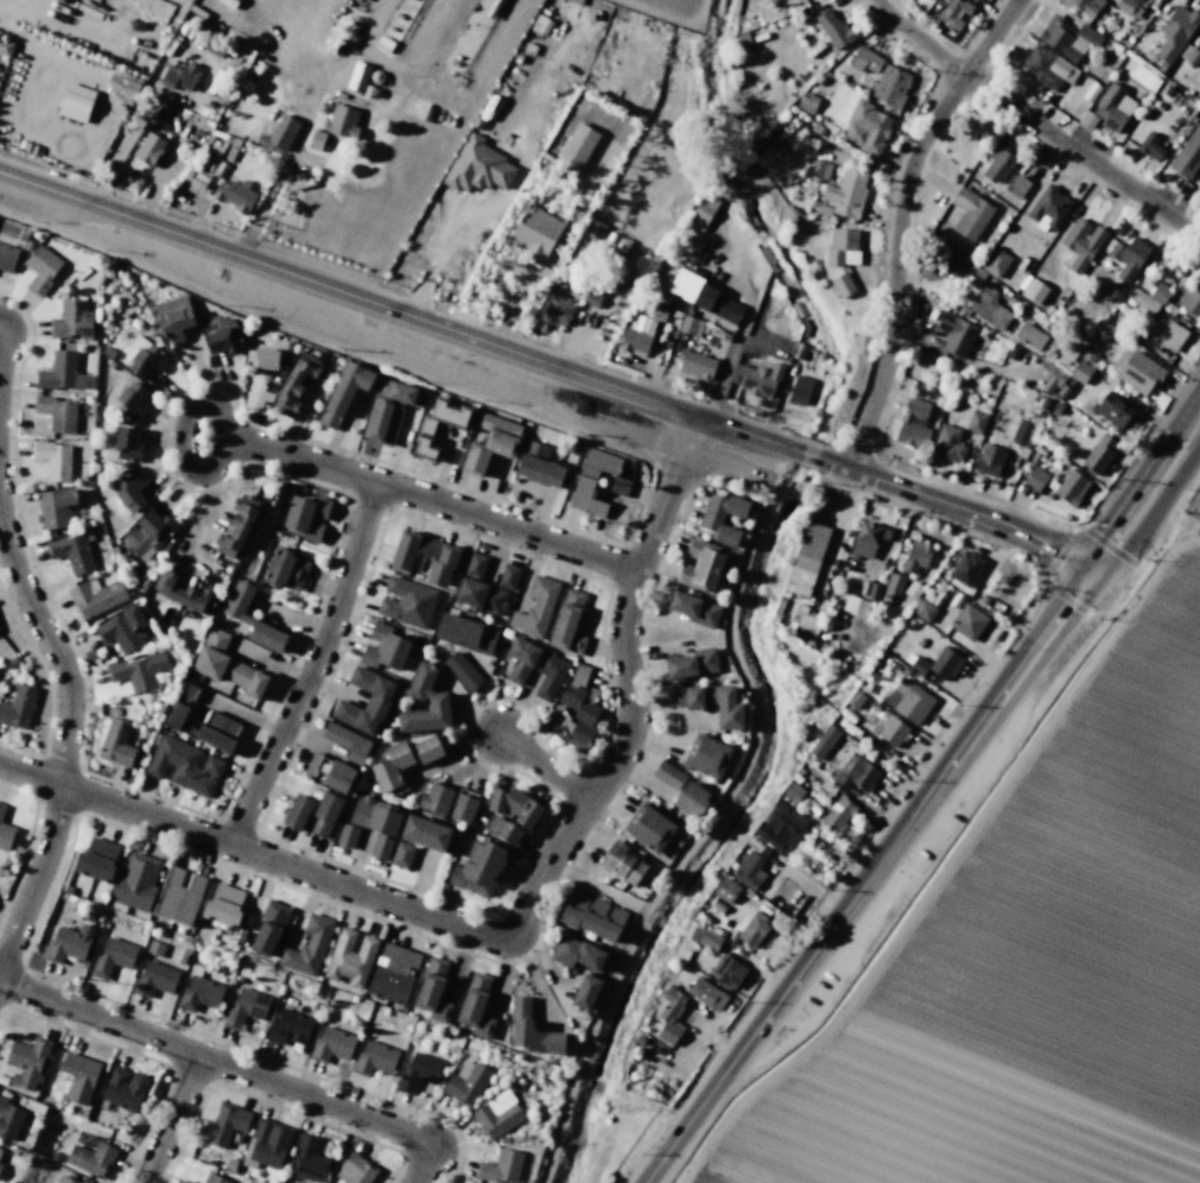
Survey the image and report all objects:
building: (1136, 0)
building: (1125, 5)
building: (1086, 6)
building: (953, 13)
crop: (97, 17)
building: (834, 30)
building: (1175, 31)
building: (1066, 38)
road: (918, 39)
building: (6, 49)
building: (1188, 55)
building: (862, 67)
building: (1046, 67)
building: (179, 76)
building: (358, 77)
building: (1142, 77)
building: (122, 84)
building: (891, 87)
building: (75, 102)
building: (807, 103)
building: (1109, 107)
building: (1086, 120)
building: (343, 124)
building: (870, 128)
building: (282, 133)
building: (315, 140)
building: (1149, 146)
building: (577, 147)
building: (148, 148)
building: (1187, 153)
road: (1081, 154)
building: (997, 164)
building: (478, 166)
building: (820, 170)
building: (1017, 186)
building: (847, 194)
building: (234, 195)
road: (461, 197)
building: (1047, 209)
building: (701, 211)
building: (969, 213)
road: (897, 220)
building: (535, 234)
building: (1079, 245)
building: (1128, 257)
building: (7, 258)
building: (843, 259)
building: (995, 261)
building: (40, 268)
building: (1034, 291)
building: (1157, 291)
building: (703, 295)
building: (592, 296)
building: (1191, 301)
building: (1143, 302)
building: (988, 306)
building: (555, 310)
building: (174, 317)
building: (71, 320)
building: (690, 325)
building: (805, 327)
building: (1105, 331)
building: (221, 333)
building: (955, 334)
building: (641, 336)
building: (1029, 336)
building: (1166, 337)
building: (799, 350)
building: (145, 356)
building: (260, 359)
road: (547, 362)
building: (694, 363)
building: (58, 369)
building: (1136, 371)
building: (1080, 373)
building: (1050, 375)
road: (722, 378)
building: (757, 379)
building: (294, 384)
building: (799, 391)
building: (343, 393)
building: (131, 401)
building: (389, 409)
building: (1112, 409)
building: (57, 412)
road: (223, 420)
building: (976, 422)
building: (913, 425)
building: (427, 426)
building: (1022, 432)
building: (127, 443)
building: (490, 443)
building: (947, 444)
building: (1098, 454)
building: (53, 458)
building: (989, 460)
building: (538, 464)
building: (1035, 479)
road: (1138, 479)
building: (584, 482)
building: (1071, 487)
building: (131, 491)
road: (431, 500)
building: (55, 506)
road: (1150, 514)
building: (306, 517)
building: (709, 521)
building: (236, 527)
building: (147, 534)
building: (868, 539)
building: (71, 552)
building: (915, 556)
building: (807, 558)
building: (444, 561)
building: (700, 565)
building: (966, 568)
building: (285, 569)
building: (894, 583)
building: (484, 587)
building: (870, 587)
building: (913, 590)
building: (872, 591)
building: (184, 593)
building: (94, 596)
building: (983, 600)
building: (406, 602)
building: (856, 605)
building: (535, 607)
building: (694, 608)
building: (923, 609)
building: (252, 618)
building: (806, 620)
building: (969, 621)
building: (567, 624)
building: (122, 628)
building: (465, 633)
building: (385, 647)
building: (692, 663)
building: (939, 663)
building: (227, 665)
road: (311, 668)
building: (551, 669)
building: (136, 671)
building: (462, 671)
building: (427, 695)
building: (855, 700)
building: (912, 701)
building: (711, 702)
building: (376, 704)
building: (875, 706)
building: (18, 707)
building: (576, 710)
building: (203, 723)
building: (889, 728)
road: (65, 740)
building: (824, 741)
building: (347, 742)
building: (115, 744)
building: (706, 755)
building: (402, 759)
building: (312, 764)
building: (184, 765)
road: (544, 767)
building: (855, 773)
building: (667, 774)
building: (338, 777)
building: (792, 791)
building: (436, 798)
building: (691, 799)
building: (463, 808)
building: (1, 810)
building: (297, 811)
building: (324, 814)
building: (512, 814)
building: (375, 816)
building: (837, 816)
building: (780, 827)
building: (649, 828)
building: (425, 831)
building: (5, 835)
building: (347, 835)
building: (754, 843)
building: (380, 847)
building: (401, 855)
building: (97, 860)
building: (622, 863)
building: (477, 868)
building: (748, 869)
road: (868, 877)
building: (135, 882)
building: (726, 890)
building: (179, 896)
building: (223, 905)
building: (718, 906)
building: (592, 917)
road: (518, 922)
building: (269, 926)
building: (751, 931)
building: (704, 937)
building: (68, 943)
building: (307, 947)
building: (154, 948)
crop: (1035, 950)
building: (576, 953)
building: (113, 956)
building: (351, 957)
building: (726, 970)
building: (393, 973)
building: (154, 979)
building: (433, 989)
building: (585, 992)
building: (706, 993)
building: (198, 994)
building: (476, 1005)
building: (243, 1008)
building: (669, 1016)
building: (290, 1027)
building: (531, 1030)
building: (331, 1044)
building: (374, 1058)
building: (27, 1061)
road: (215, 1061)
building: (418, 1071)
building: (78, 1076)
building: (466, 1084)
building: (123, 1089)
building: (497, 1115)
road: (170, 1119)
building: (9, 1120)
building: (227, 1124)
building: (266, 1144)
building: (0, 1150)
building: (90, 1158)
building: (309, 1159)
building: (230, 1164)
building: (0, 1166)
building: (500, 1166)
building: (354, 1169)
road: (419, 1169)
building: (214, 1178)
building: (63, 1179)
building: (83, 1181)
building: (186, 1182)

